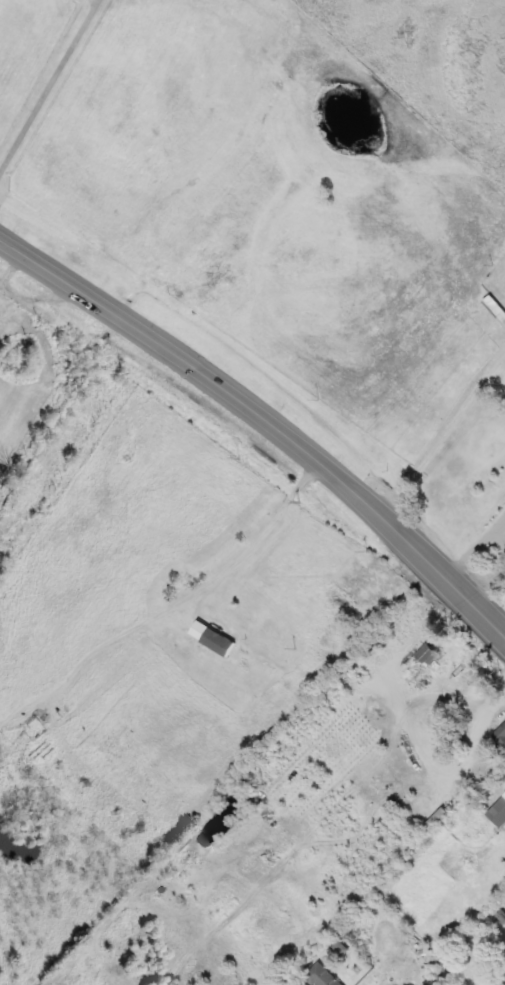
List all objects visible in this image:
building: (497, 308)
road: (266, 412)
building: (215, 639)
building: (430, 655)
building: (501, 736)
building: (499, 814)
building: (323, 976)
building: (504, 984)

